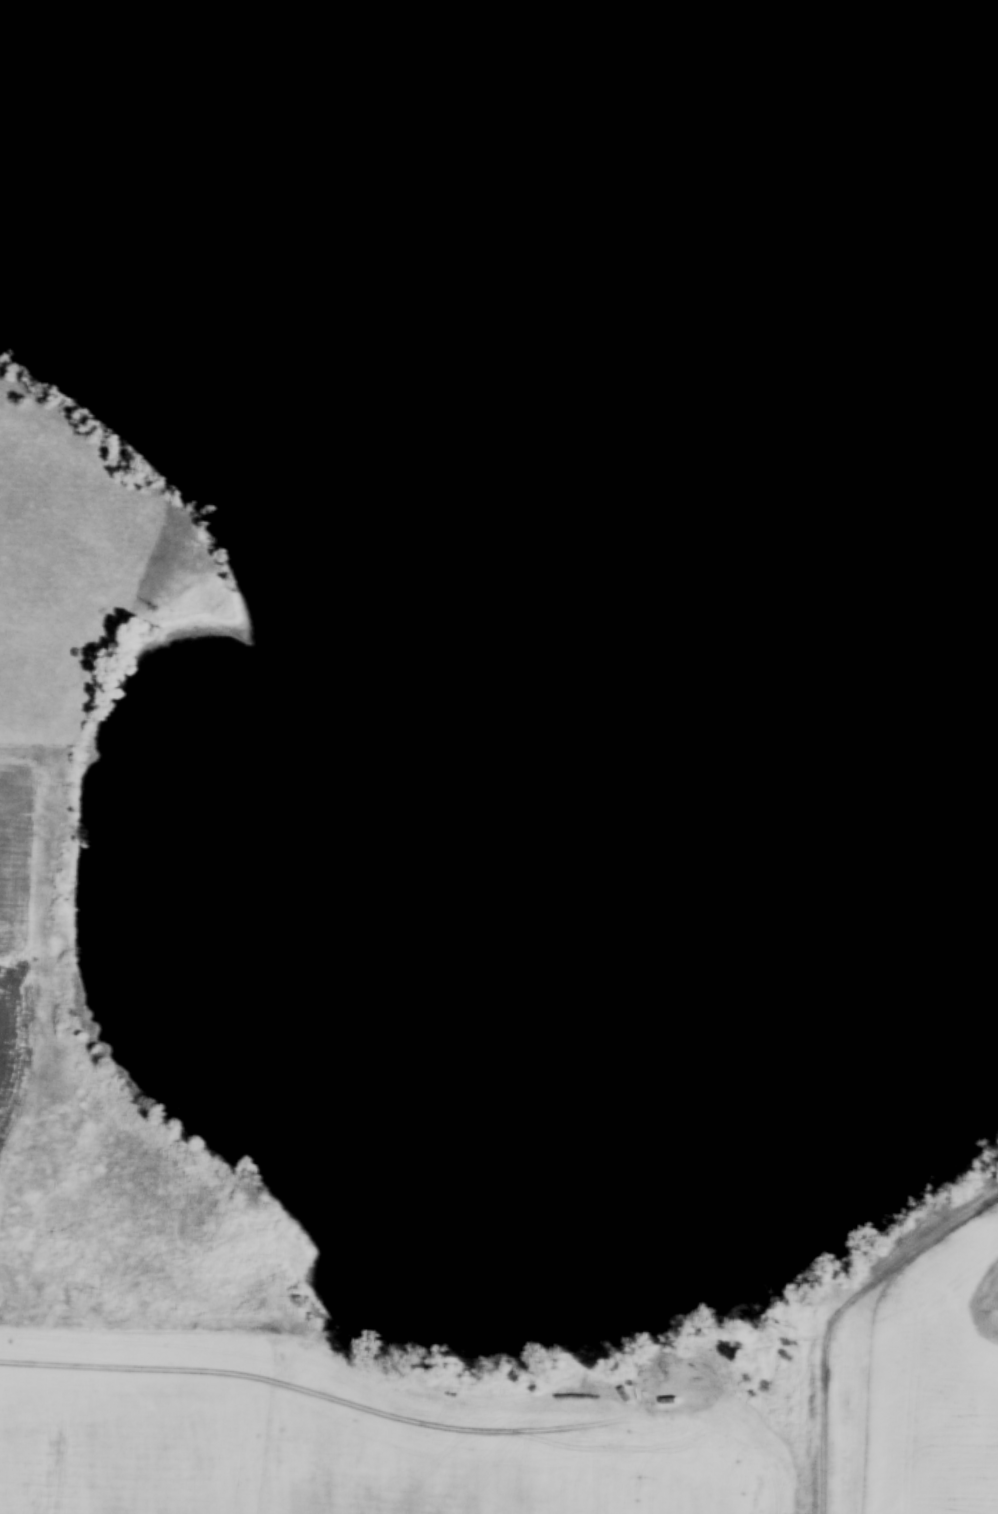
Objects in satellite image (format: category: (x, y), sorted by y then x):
river: (172, 163)
river: (718, 245)
road: (49, 860)
road: (826, 1308)
road: (805, 1337)
road: (396, 1390)

